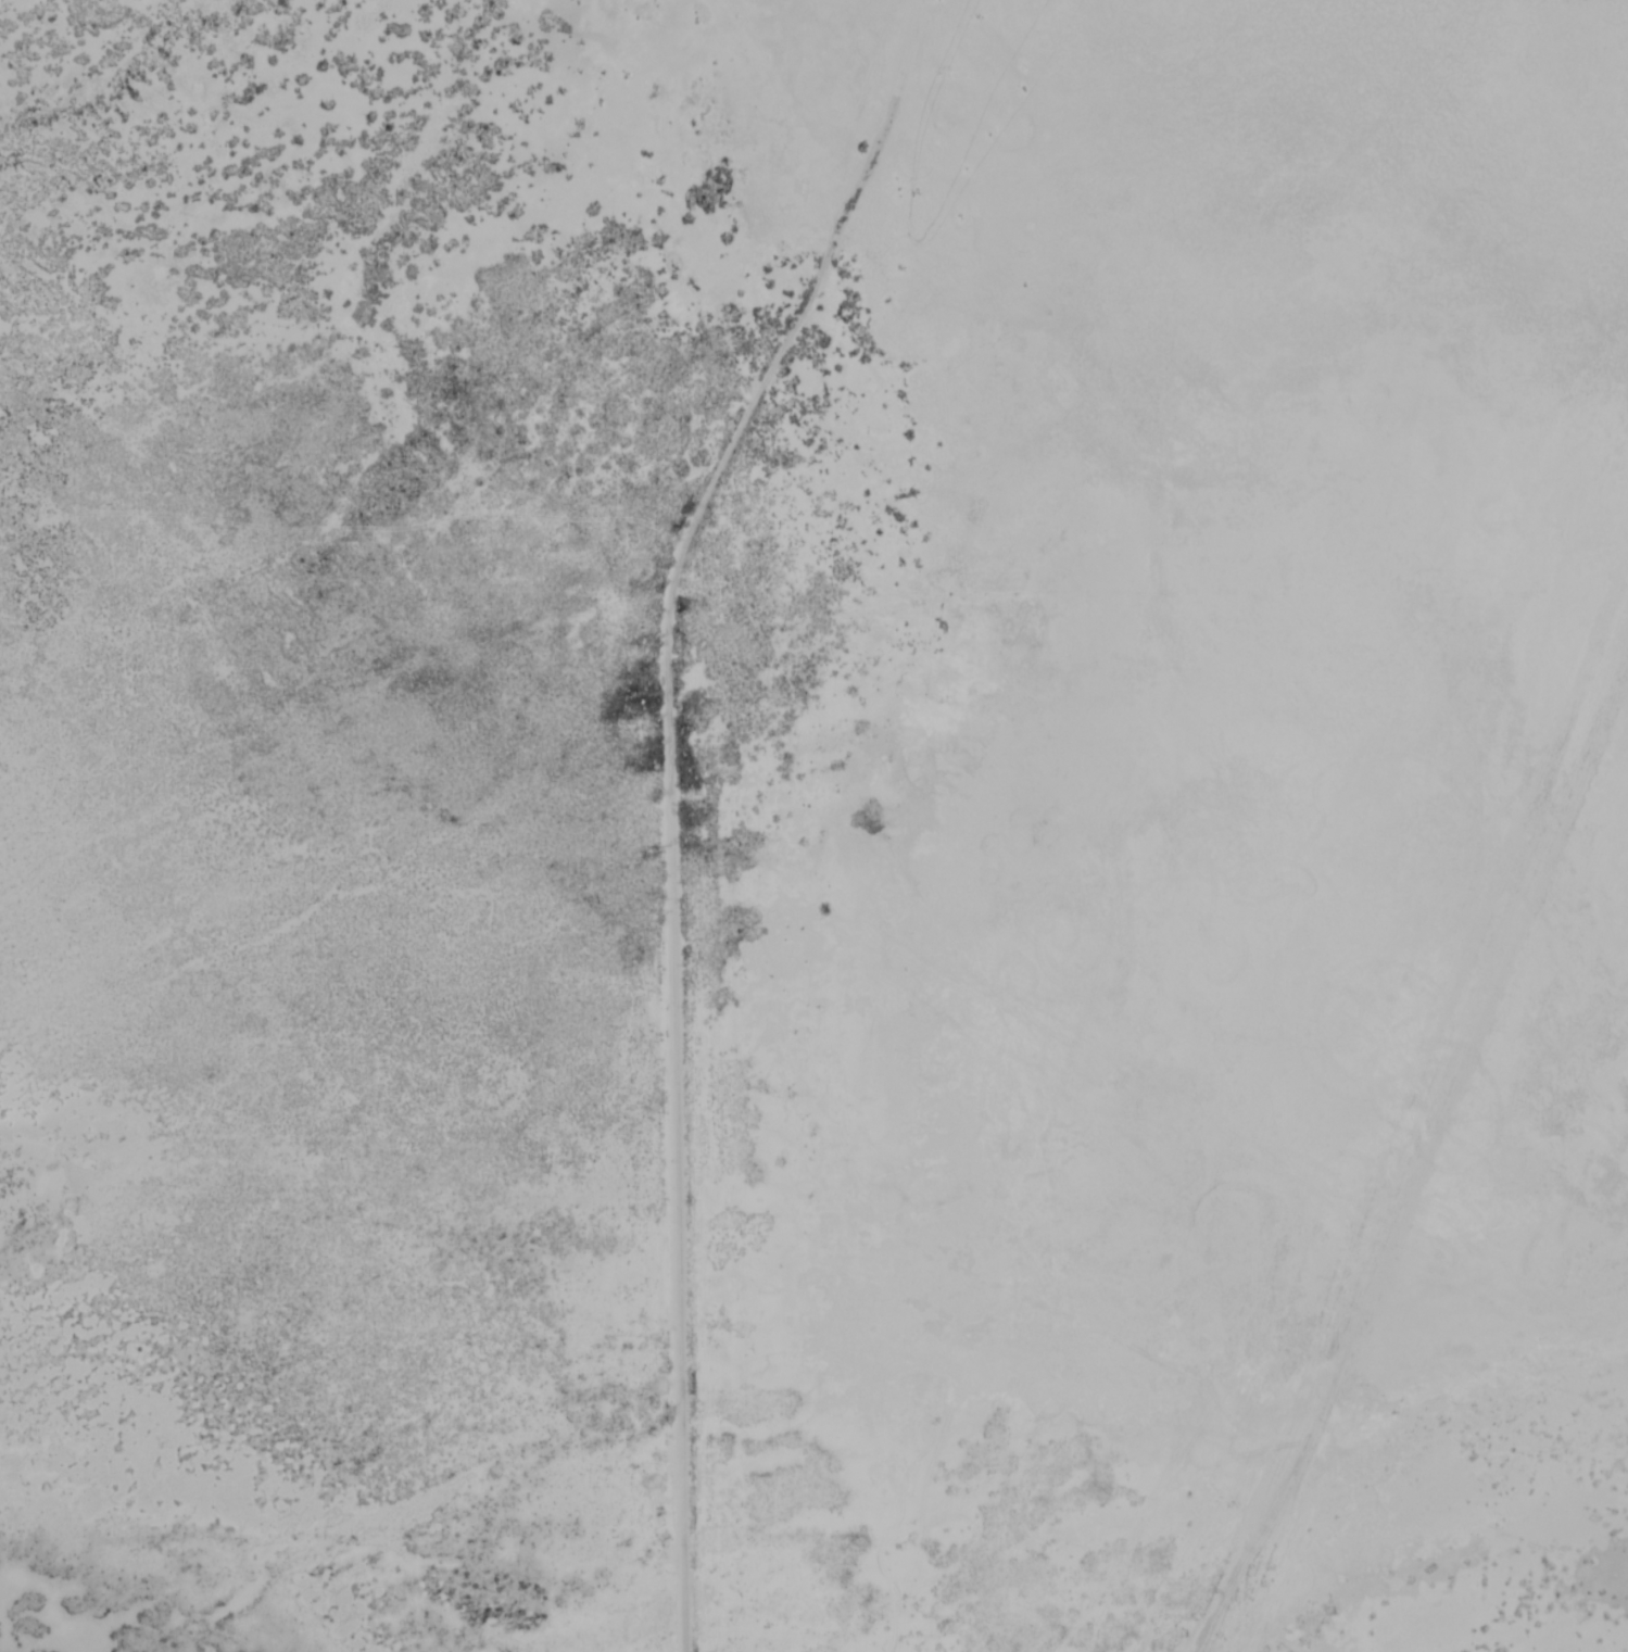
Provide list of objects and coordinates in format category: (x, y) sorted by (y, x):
road: (671, 810)
road: (1427, 1114)

